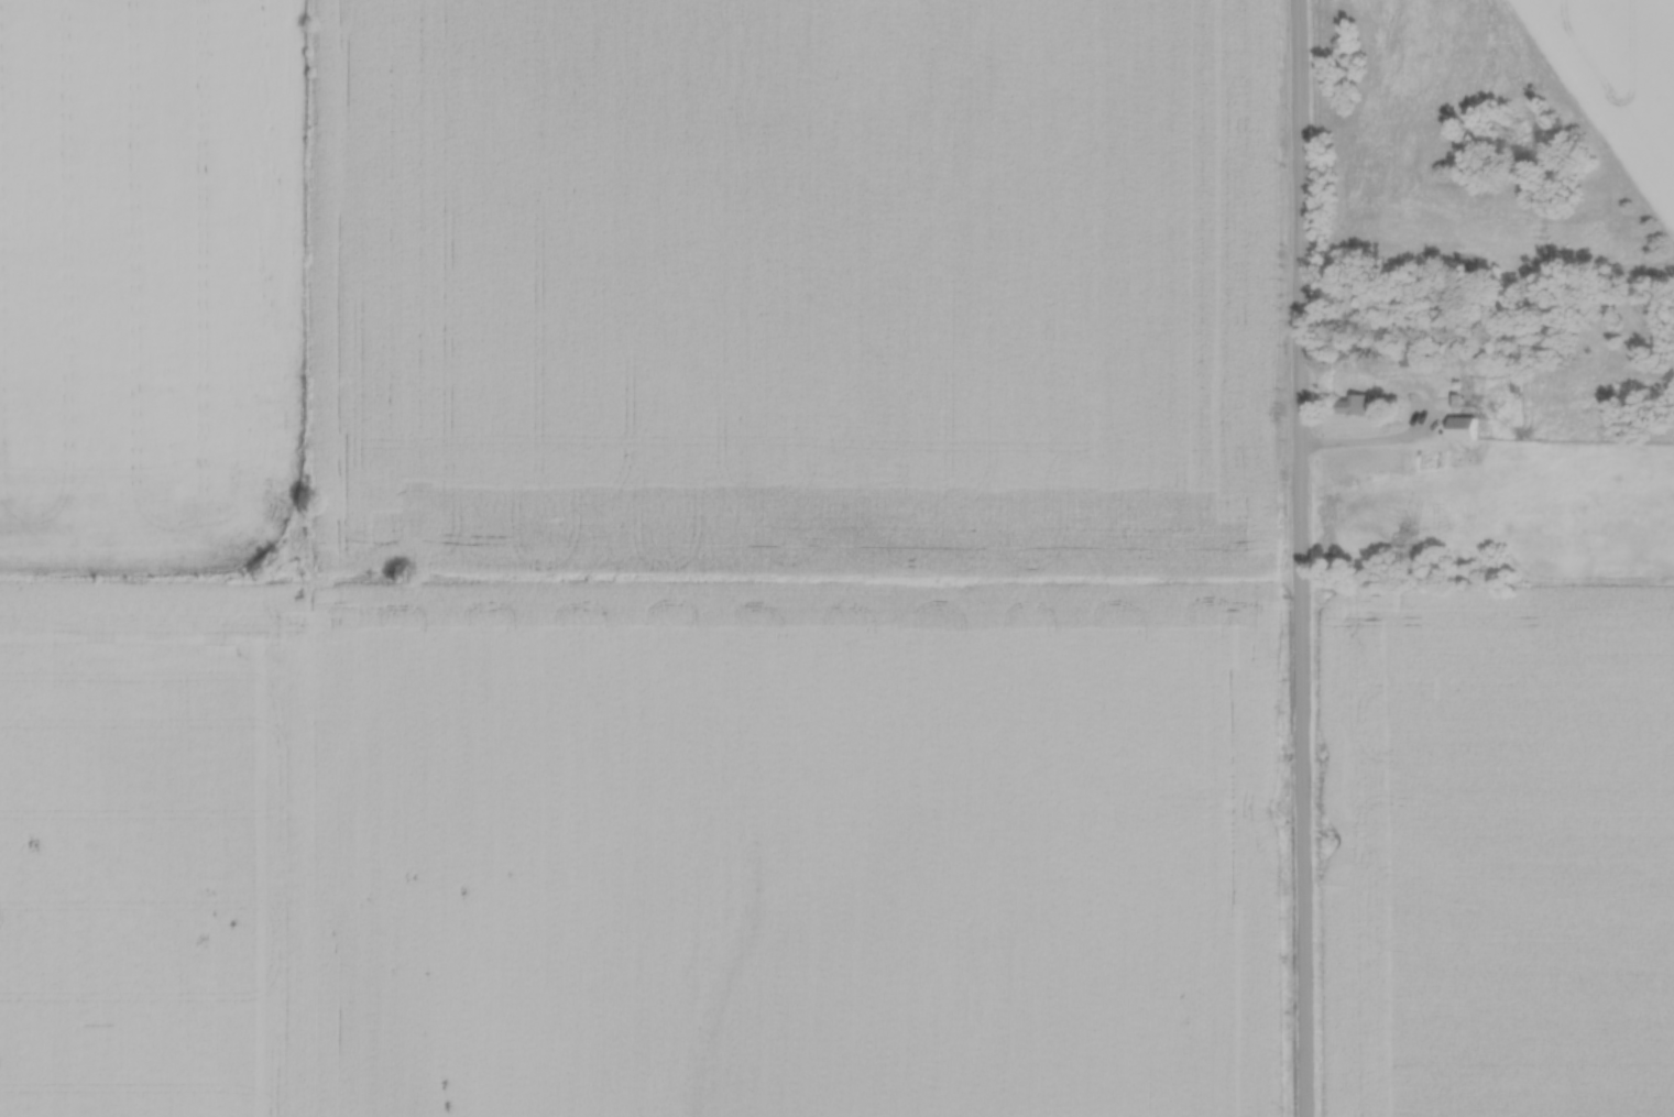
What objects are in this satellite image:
building: (1405, 352)
building: (1355, 401)
building: (1462, 423)
road: (1374, 441)
road: (1296, 558)

